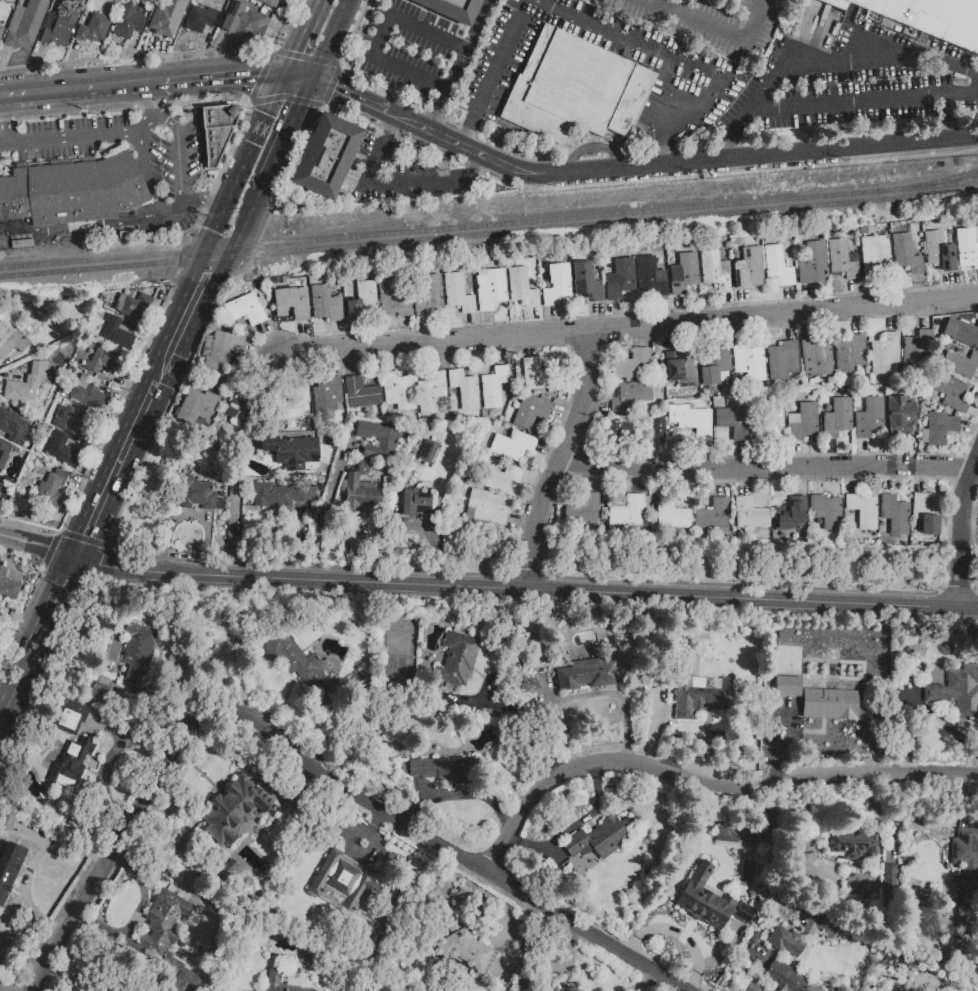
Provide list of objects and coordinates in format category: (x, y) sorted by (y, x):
building: (269, 3)
road: (681, 7)
building: (451, 9)
building: (932, 18)
building: (198, 19)
building: (244, 20)
building: (127, 21)
building: (161, 23)
building: (25, 24)
building: (60, 25)
building: (92, 26)
road: (600, 30)
road: (721, 30)
building: (1, 31)
road: (384, 35)
road: (301, 37)
road: (333, 40)
traffic signals: (295, 51)
road: (839, 60)
road: (460, 66)
parking lot: (706, 71)
traffic signals: (256, 77)
road: (299, 77)
road: (225, 79)
parking lot: (851, 83)
road: (161, 85)
traffic signals: (333, 88)
building: (576, 90)
road: (80, 92)
road: (352, 96)
road: (155, 99)
road: (3, 100)
road: (867, 103)
traffic signals: (303, 105)
road: (398, 117)
road: (947, 118)
road: (148, 119)
road: (166, 120)
road: (2, 124)
road: (393, 126)
road: (138, 129)
building: (217, 132)
road: (288, 135)
road: (466, 138)
road: (68, 143)
road: (591, 146)
road: (731, 147)
road: (668, 149)
road: (468, 151)
building: (326, 157)
road: (754, 157)
road: (182, 165)
road: (479, 165)
road: (145, 166)
parking lot: (407, 175)
road: (400, 183)
railway: (926, 183)
building: (72, 191)
road: (205, 202)
road: (162, 208)
road: (176, 211)
road: (217, 220)
railway: (488, 224)
road: (83, 227)
railway: (488, 234)
building: (967, 246)
building: (938, 251)
building: (905, 254)
building: (874, 256)
building: (842, 259)
building: (813, 264)
building: (777, 265)
building: (748, 269)
building: (715, 270)
building: (684, 274)
building: (651, 277)
building: (620, 279)
road: (215, 281)
building: (586, 281)
building: (556, 284)
road: (949, 286)
building: (490, 288)
building: (521, 288)
road: (921, 289)
building: (457, 293)
road: (872, 293)
building: (428, 295)
road: (857, 295)
building: (392, 299)
road: (812, 299)
building: (362, 300)
road: (793, 300)
building: (293, 302)
building: (327, 303)
building: (135, 304)
road: (747, 305)
road: (729, 307)
building: (246, 309)
road: (683, 312)
road: (664, 314)
road: (924, 316)
road: (617, 317)
road: (600, 318)
road: (892, 319)
road: (535, 322)
road: (555, 322)
road: (857, 322)
road: (488, 326)
road: (808, 326)
road: (471, 327)
road: (629, 328)
road: (790, 328)
road: (427, 330)
road: (407, 331)
road: (737, 332)
building: (961, 332)
building: (116, 333)
road: (720, 333)
road: (358, 335)
road: (340, 336)
road: (306, 337)
road: (649, 337)
road: (671, 339)
road: (269, 340)
building: (12, 343)
road: (531, 347)
building: (221, 349)
road: (262, 350)
road: (502, 352)
building: (916, 352)
building: (883, 353)
building: (850, 354)
road: (455, 356)
road: (438, 358)
building: (817, 358)
building: (99, 360)
building: (782, 360)
road: (390, 361)
building: (749, 361)
road: (352, 363)
building: (713, 363)
road: (332, 364)
building: (633, 364)
building: (961, 364)
building: (682, 368)
road: (299, 371)
road: (237, 372)
road: (266, 374)
road: (160, 375)
building: (538, 375)
building: (494, 386)
building: (22, 389)
building: (465, 390)
building: (398, 391)
building: (88, 392)
building: (326, 393)
building: (360, 393)
building: (431, 393)
building: (951, 393)
building: (631, 395)
building: (239, 403)
road: (597, 405)
building: (294, 406)
building: (197, 407)
building: (531, 411)
road: (974, 411)
road: (565, 416)
building: (900, 417)
building: (71, 418)
building: (837, 418)
building: (869, 418)
building: (691, 420)
building: (734, 422)
building: (803, 422)
building: (767, 425)
building: (12, 426)
building: (939, 429)
building: (622, 430)
building: (657, 430)
road: (970, 430)
building: (378, 440)
road: (349, 443)
building: (512, 446)
building: (65, 450)
building: (291, 450)
road: (549, 451)
building: (4, 452)
building: (429, 452)
road: (912, 453)
road: (865, 454)
road: (660, 456)
road: (744, 456)
road: (765, 456)
road: (798, 456)
road: (707, 457)
road: (562, 461)
building: (362, 467)
road: (116, 469)
road: (768, 470)
building: (497, 477)
road: (536, 480)
road: (594, 480)
road: (890, 481)
road: (925, 481)
road: (974, 481)
road: (642, 482)
road: (819, 482)
road: (855, 482)
building: (0, 484)
road: (670, 484)
road: (748, 484)
road: (723, 485)
building: (50, 486)
road: (801, 486)
road: (399, 492)
building: (280, 493)
building: (359, 493)
building: (198, 495)
road: (236, 503)
building: (415, 504)
building: (485, 508)
building: (585, 511)
building: (866, 511)
building: (632, 512)
building: (830, 512)
road: (324, 513)
building: (931, 514)
road: (192, 515)
building: (675, 515)
road: (971, 515)
building: (716, 516)
building: (753, 516)
building: (898, 516)
road: (209, 517)
building: (797, 517)
road: (523, 522)
road: (413, 526)
road: (963, 534)
road: (301, 542)
road: (37, 546)
road: (349, 546)
traffic signals: (74, 558)
building: (8, 587)
road: (525, 589)
road: (36, 634)
building: (139, 652)
building: (457, 659)
road: (10, 664)
building: (309, 668)
building: (586, 674)
building: (786, 686)
building: (699, 691)
building: (99, 692)
building: (957, 692)
building: (831, 705)
building: (70, 717)
road: (526, 727)
road: (110, 759)
building: (70, 764)
building: (445, 769)
road: (164, 770)
road: (705, 785)
building: (235, 808)
building: (736, 835)
building: (599, 839)
building: (851, 844)
building: (967, 859)
road: (30, 863)
building: (6, 876)
building: (888, 885)
building: (350, 895)
road: (528, 896)
building: (710, 900)
building: (822, 927)
building: (168, 936)
building: (786, 941)
building: (463, 948)
building: (786, 977)
building: (294, 982)
road: (7, 989)
building: (570, 989)
building: (553, 990)

